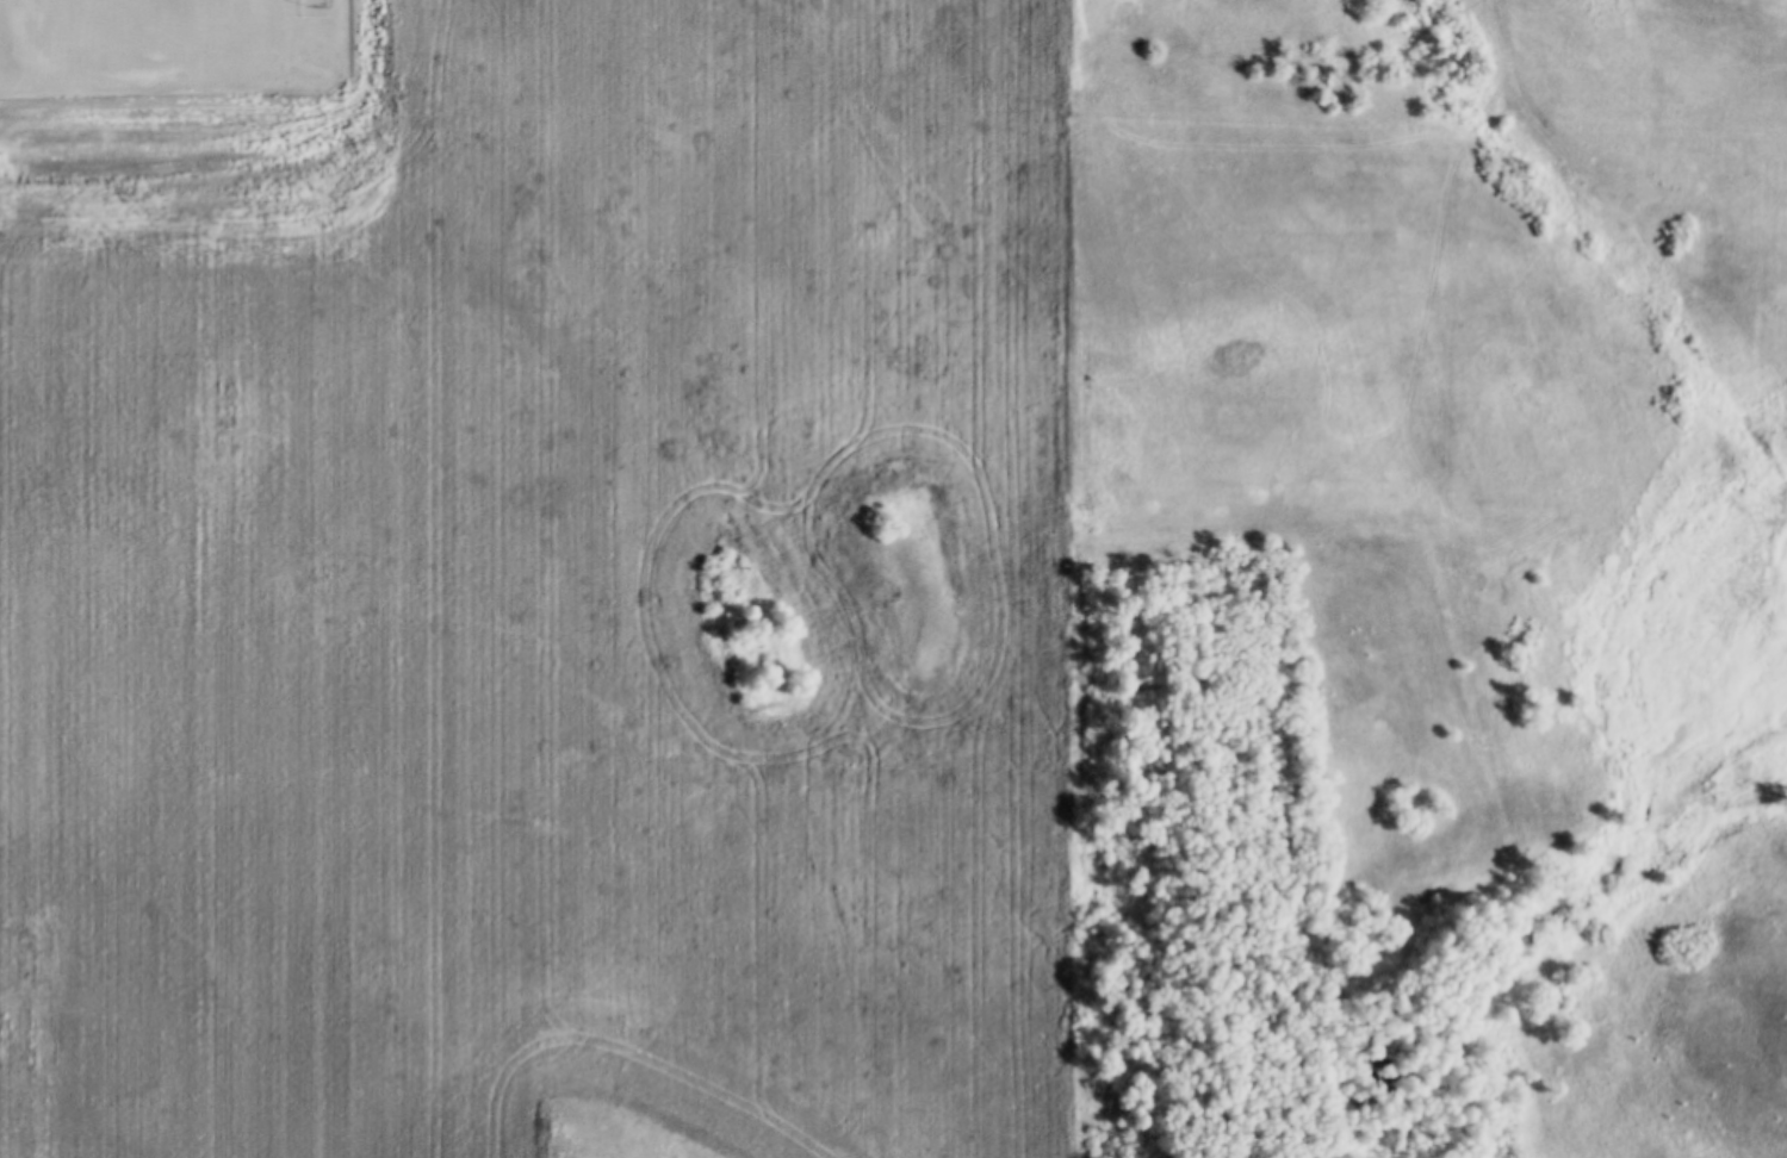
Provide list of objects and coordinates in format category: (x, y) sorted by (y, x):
road: (1782, 783)

